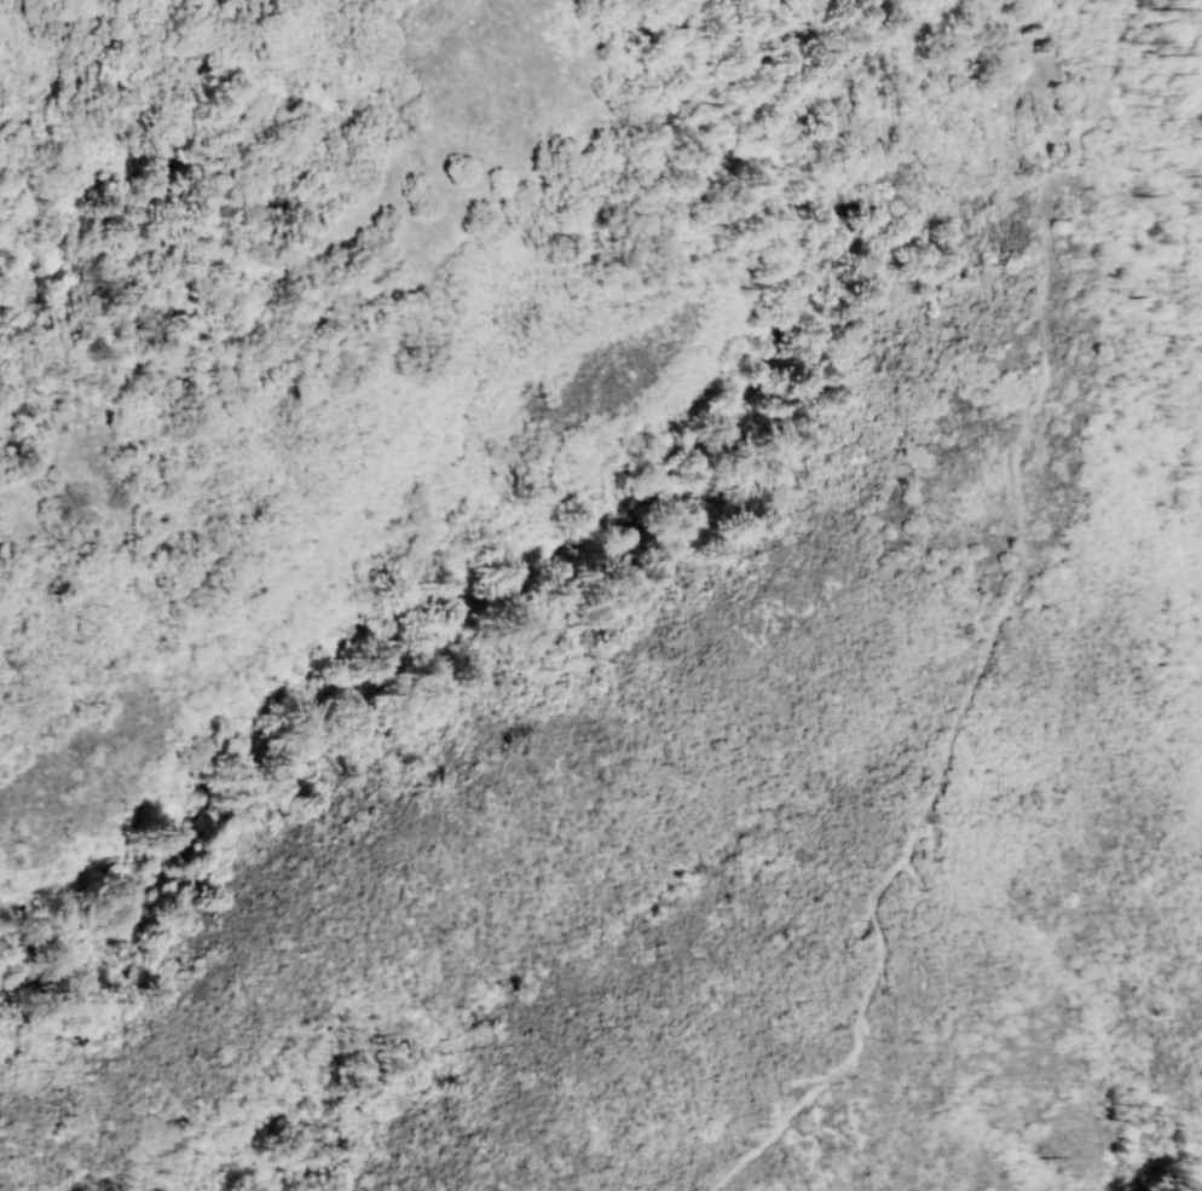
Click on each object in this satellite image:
road: (1016, 87)
road: (1056, 138)
road: (1044, 227)
road: (932, 787)

